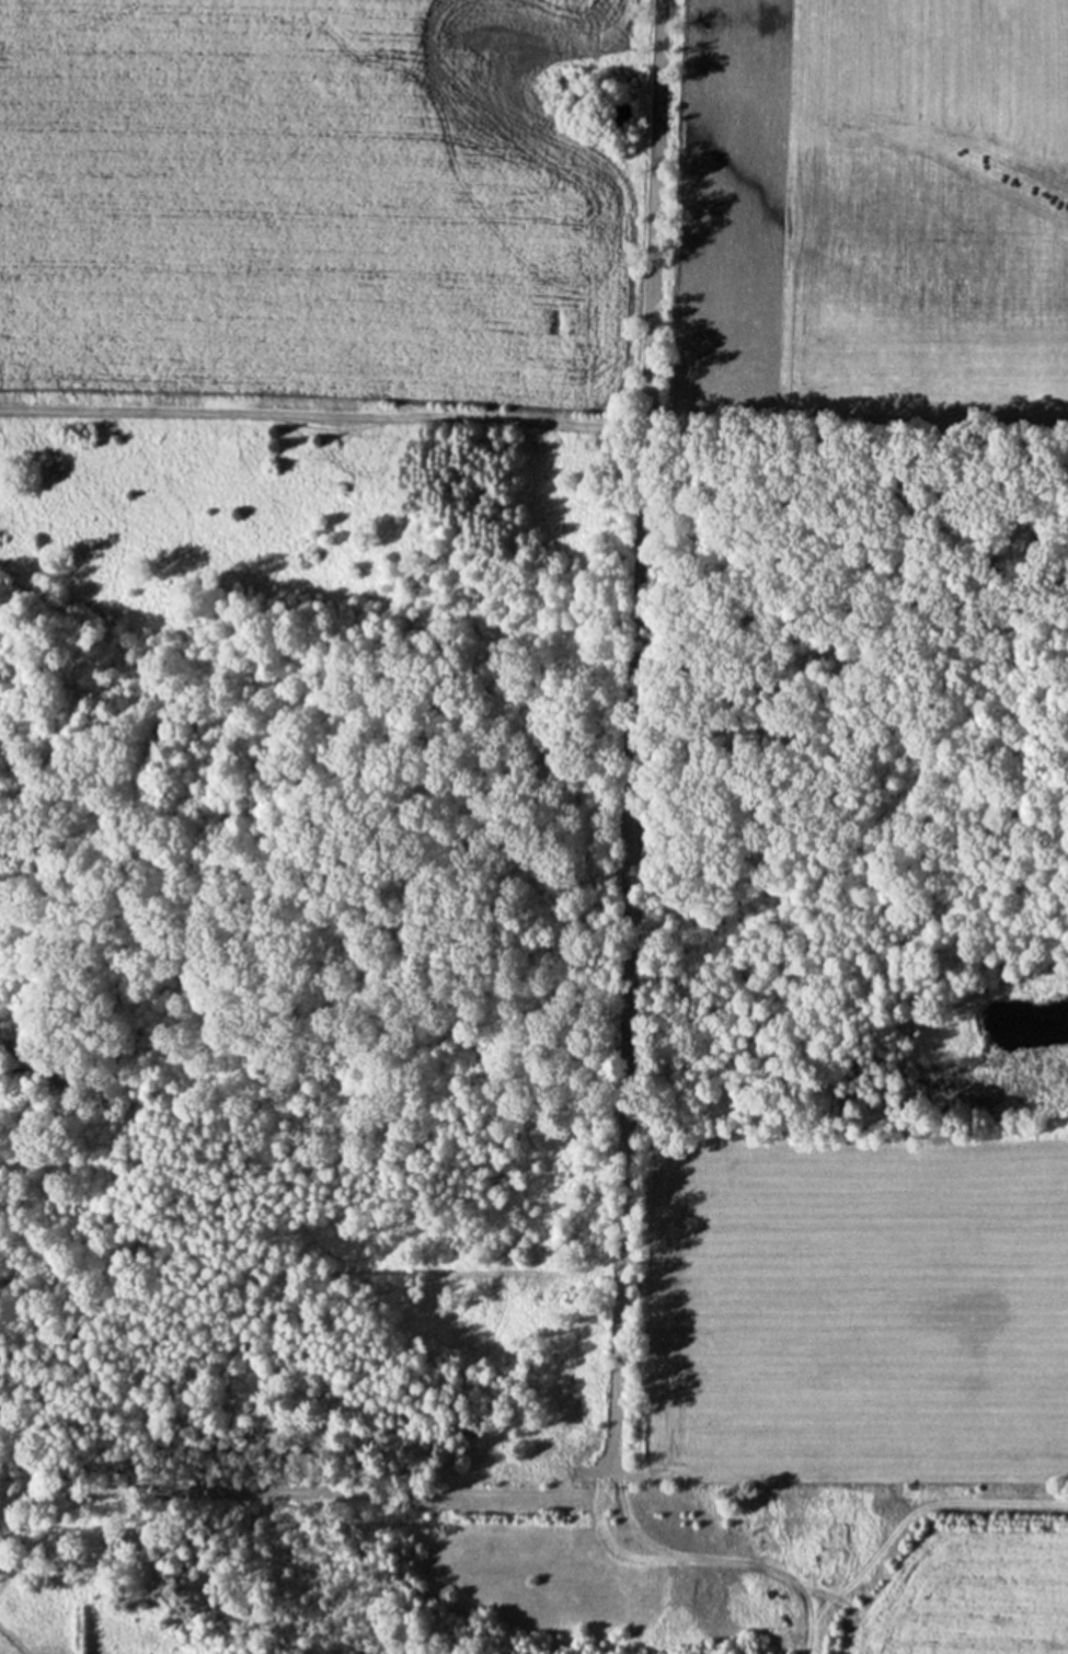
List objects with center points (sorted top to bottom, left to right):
road: (633, 707)
road: (690, 1555)

